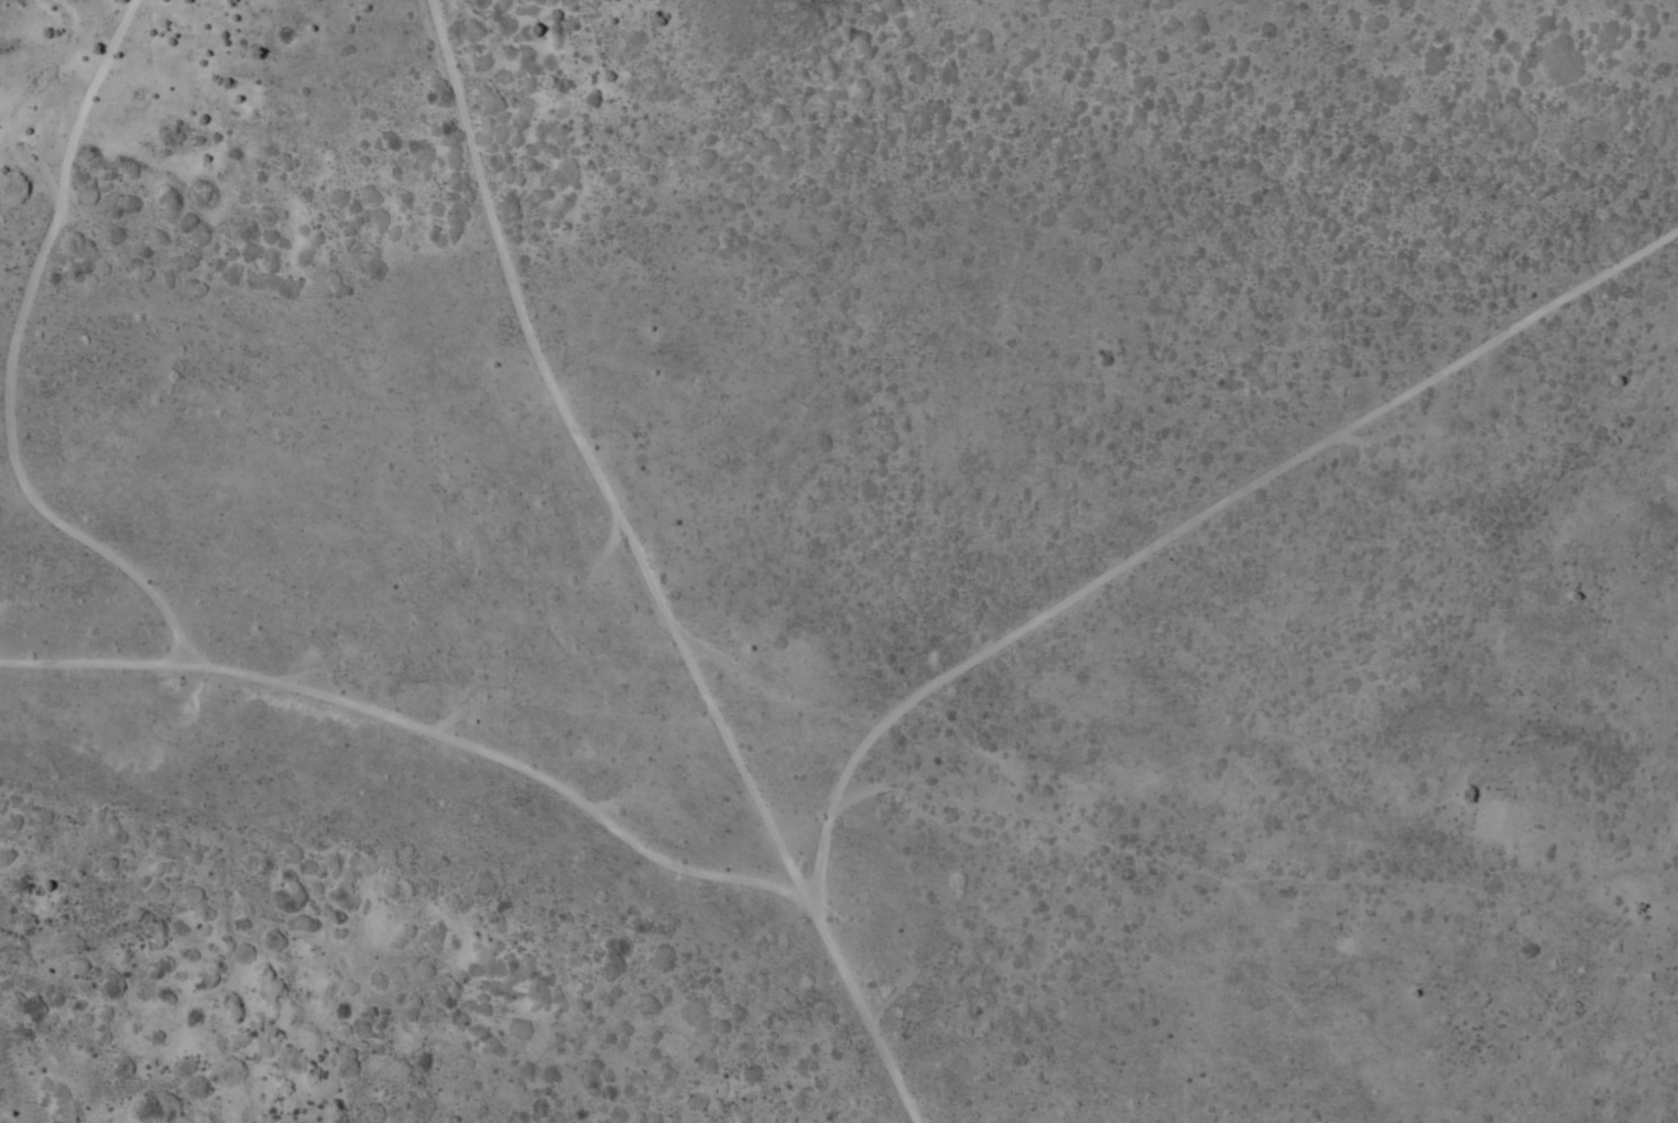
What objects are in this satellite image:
road: (602, 450)
road: (1087, 574)
road: (172, 639)

